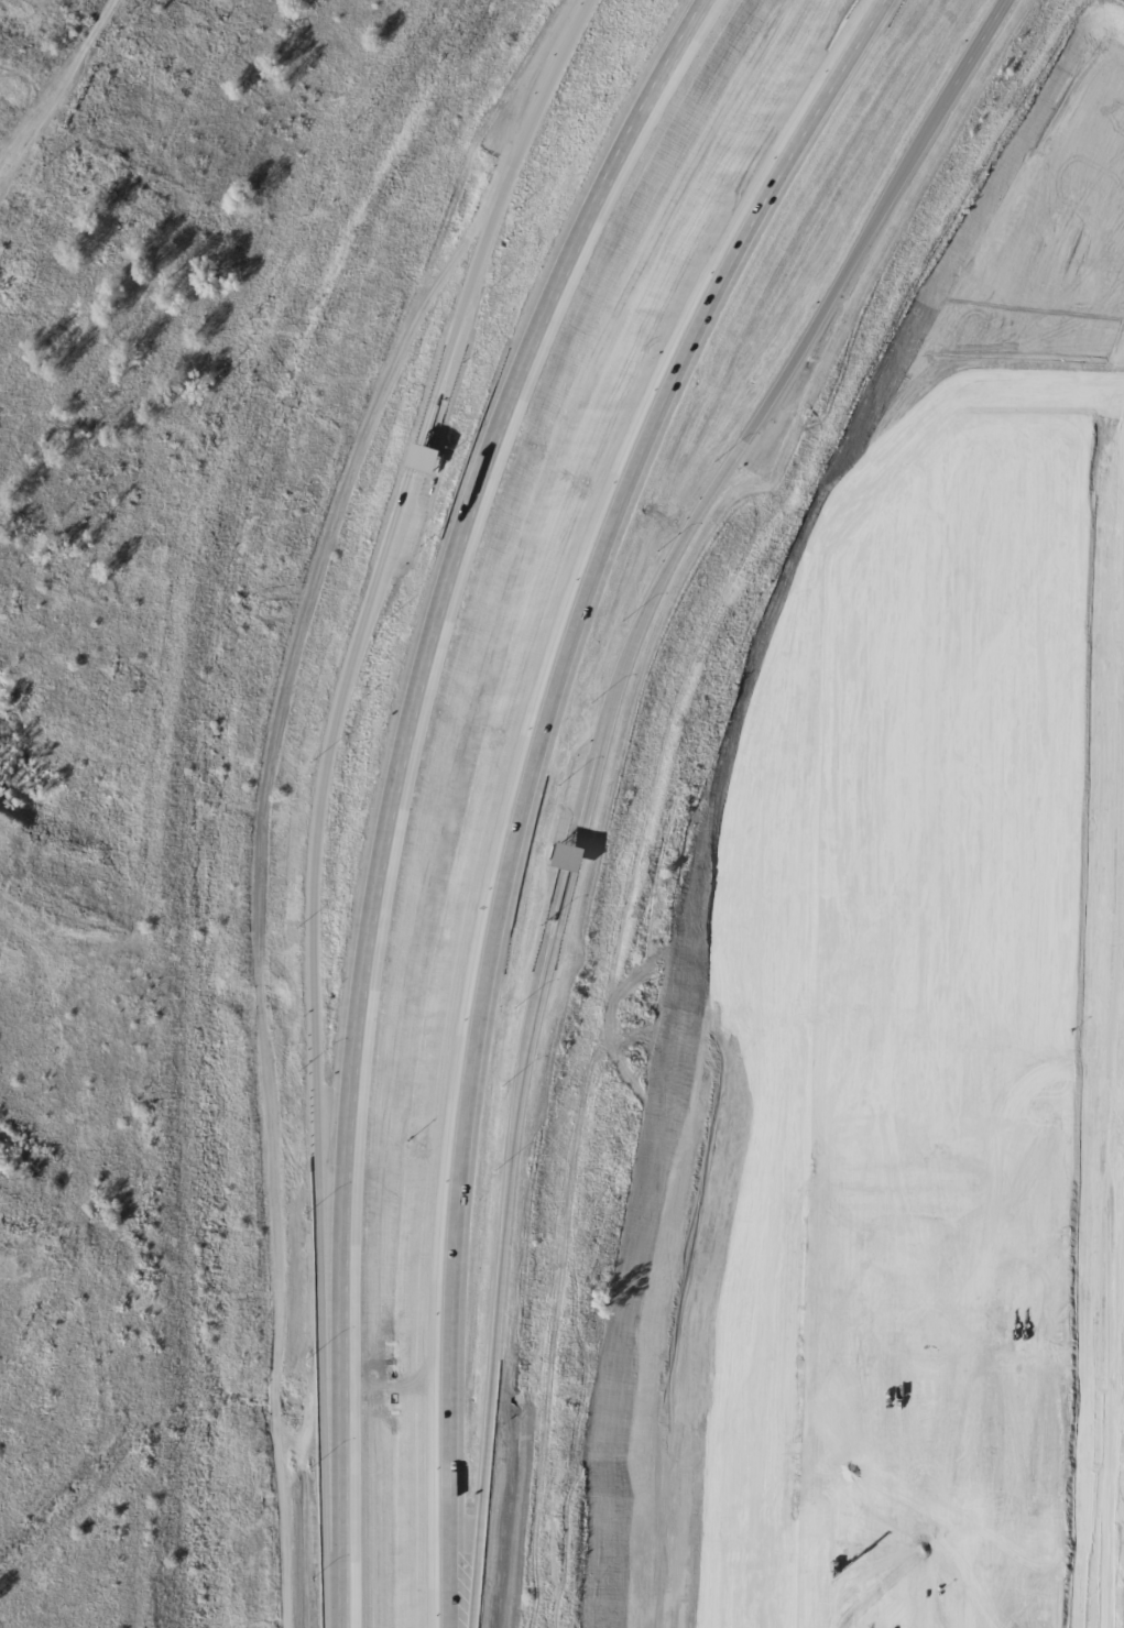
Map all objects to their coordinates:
road: (1006, 1)
road: (1006, 1)
road: (1007, 1)
road: (980, 45)
road: (52, 113)
road: (1052, 156)
road: (1096, 186)
road: (1066, 195)
road: (493, 218)
road: (1079, 260)
road: (736, 455)
road: (414, 456)
building: (423, 458)
road: (536, 778)
road: (390, 784)
road: (705, 855)
building: (568, 857)
road: (576, 860)
road: (724, 873)
road: (313, 999)
building: (972, 1048)
road: (747, 1125)
road: (788, 1127)
road: (742, 1179)
road: (148, 1226)
road: (504, 1246)
road: (714, 1359)
road: (643, 1493)

